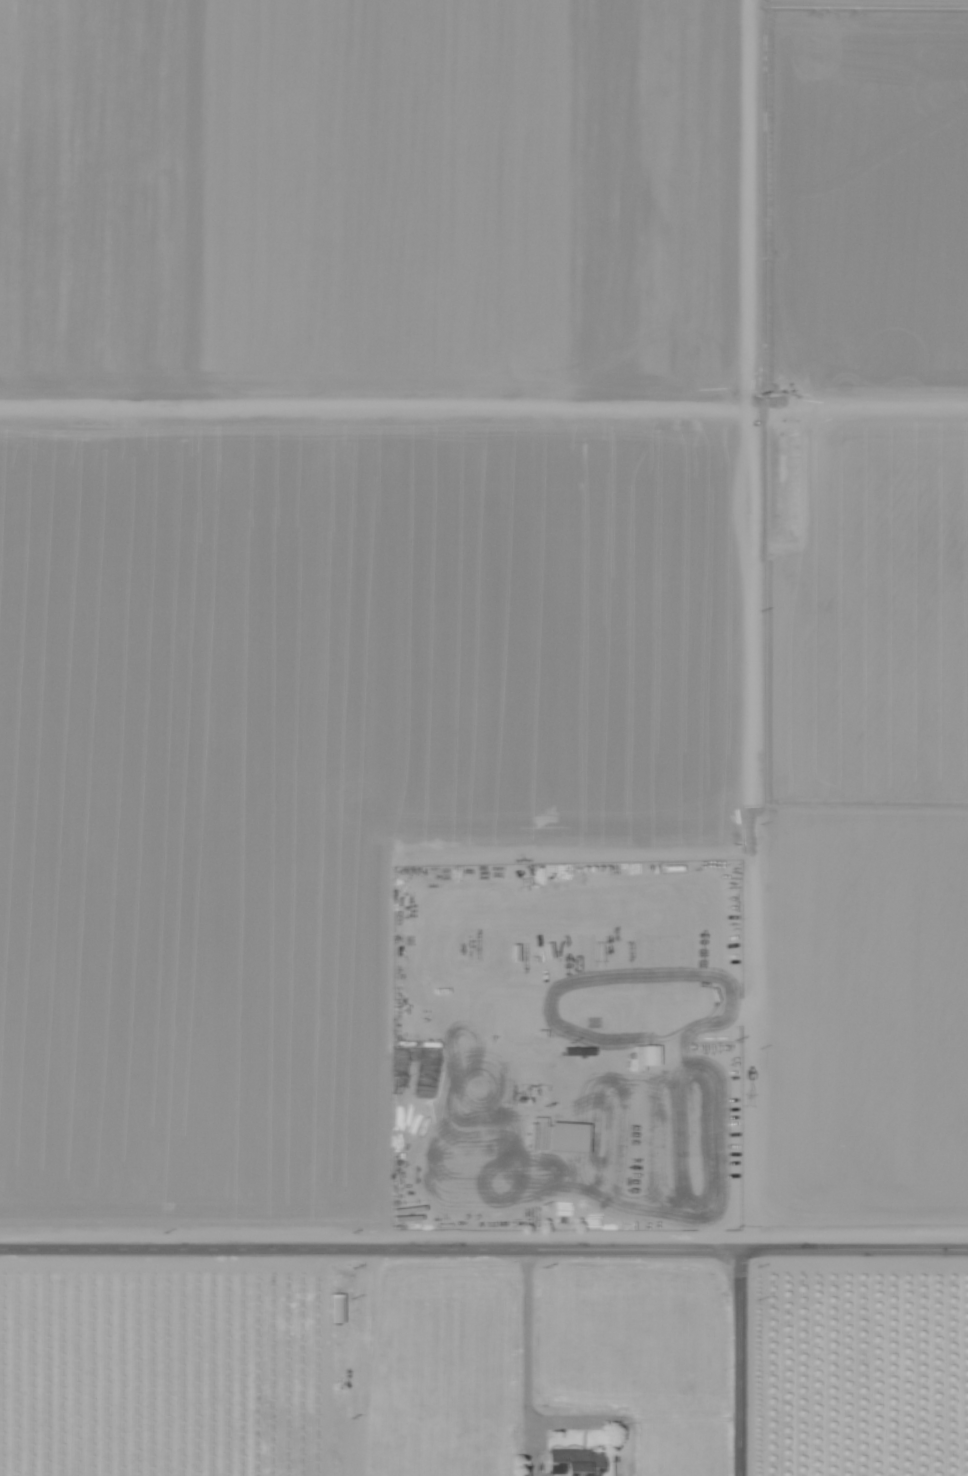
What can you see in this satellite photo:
crop: (470, 555)
road: (736, 625)
road: (565, 919)
building: (566, 1137)
road: (484, 1250)
road: (525, 1363)
road: (738, 1363)
road: (632, 1419)
building: (573, 1463)

